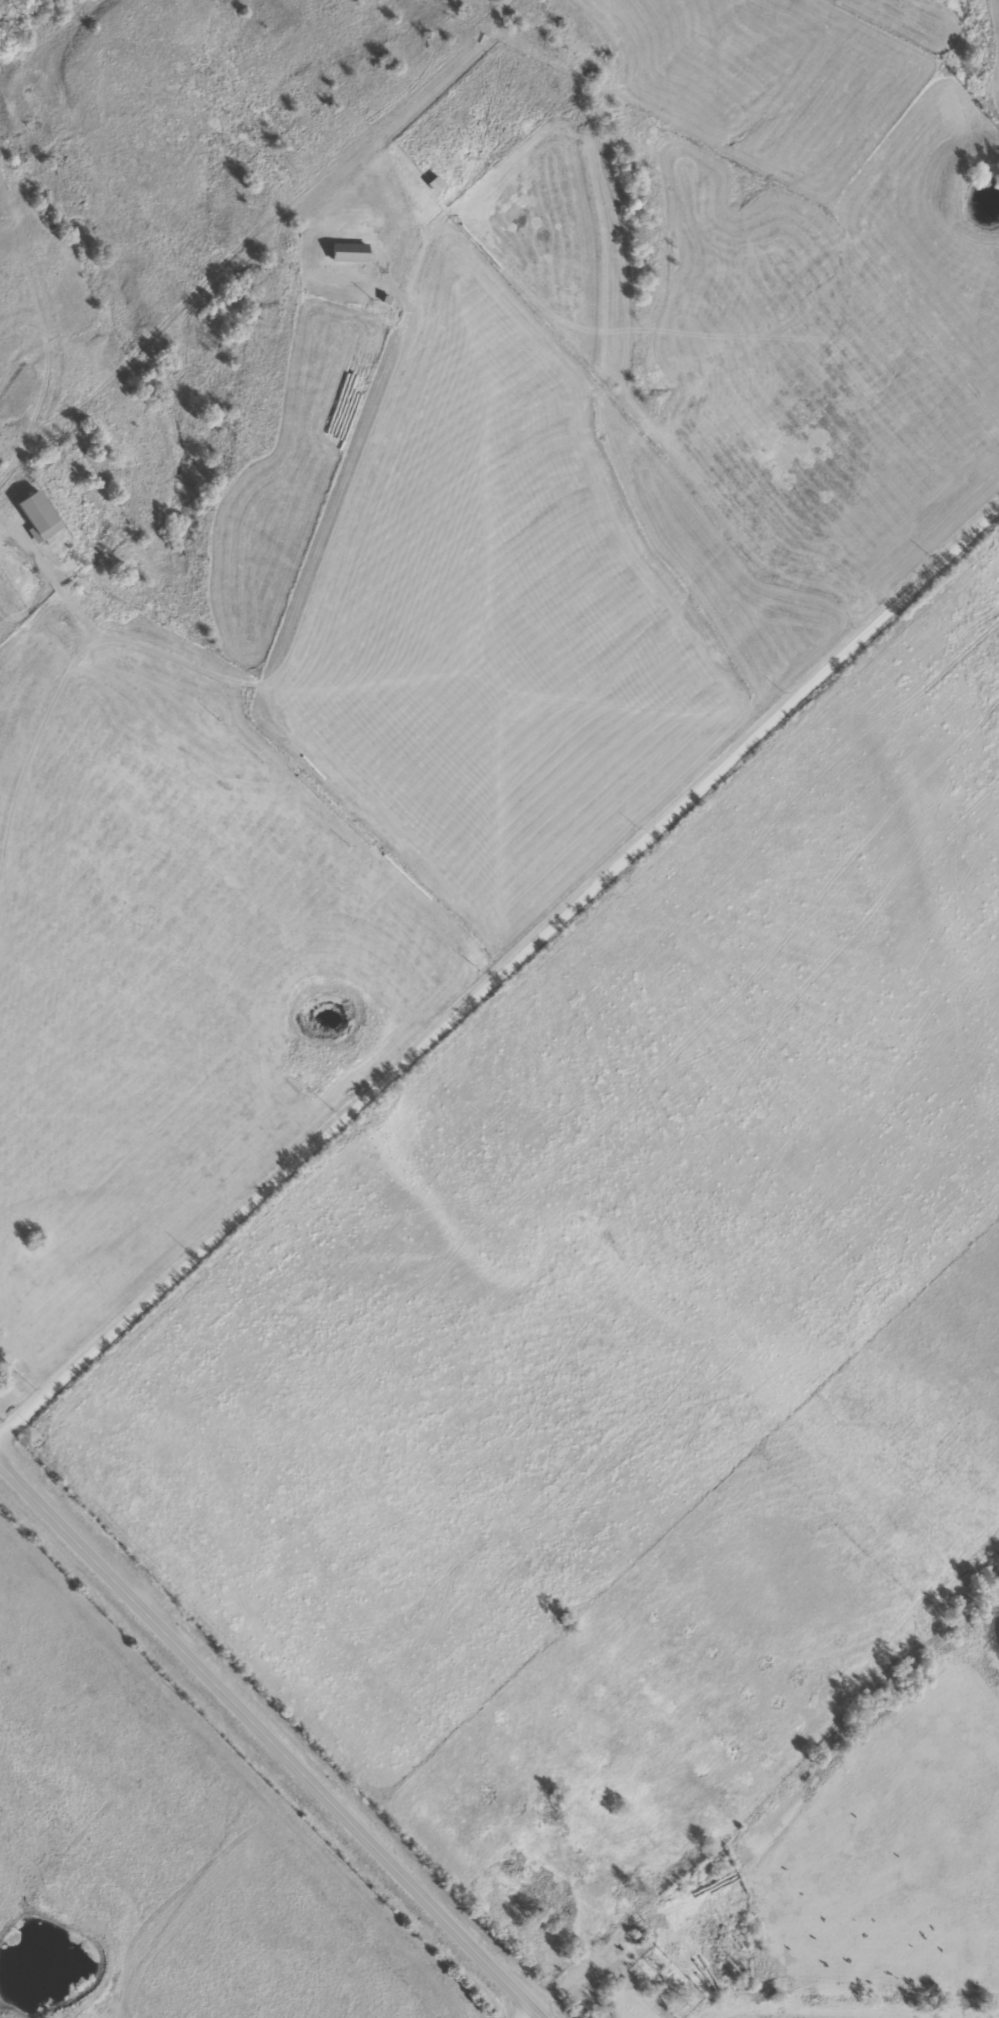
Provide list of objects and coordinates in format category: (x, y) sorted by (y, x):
building: (433, 184)
building: (346, 253)
building: (34, 517)
building: (72, 563)
road: (62, 593)
road: (263, 682)
road: (498, 971)
road: (268, 1739)
building: (676, 2010)
road: (531, 2016)

